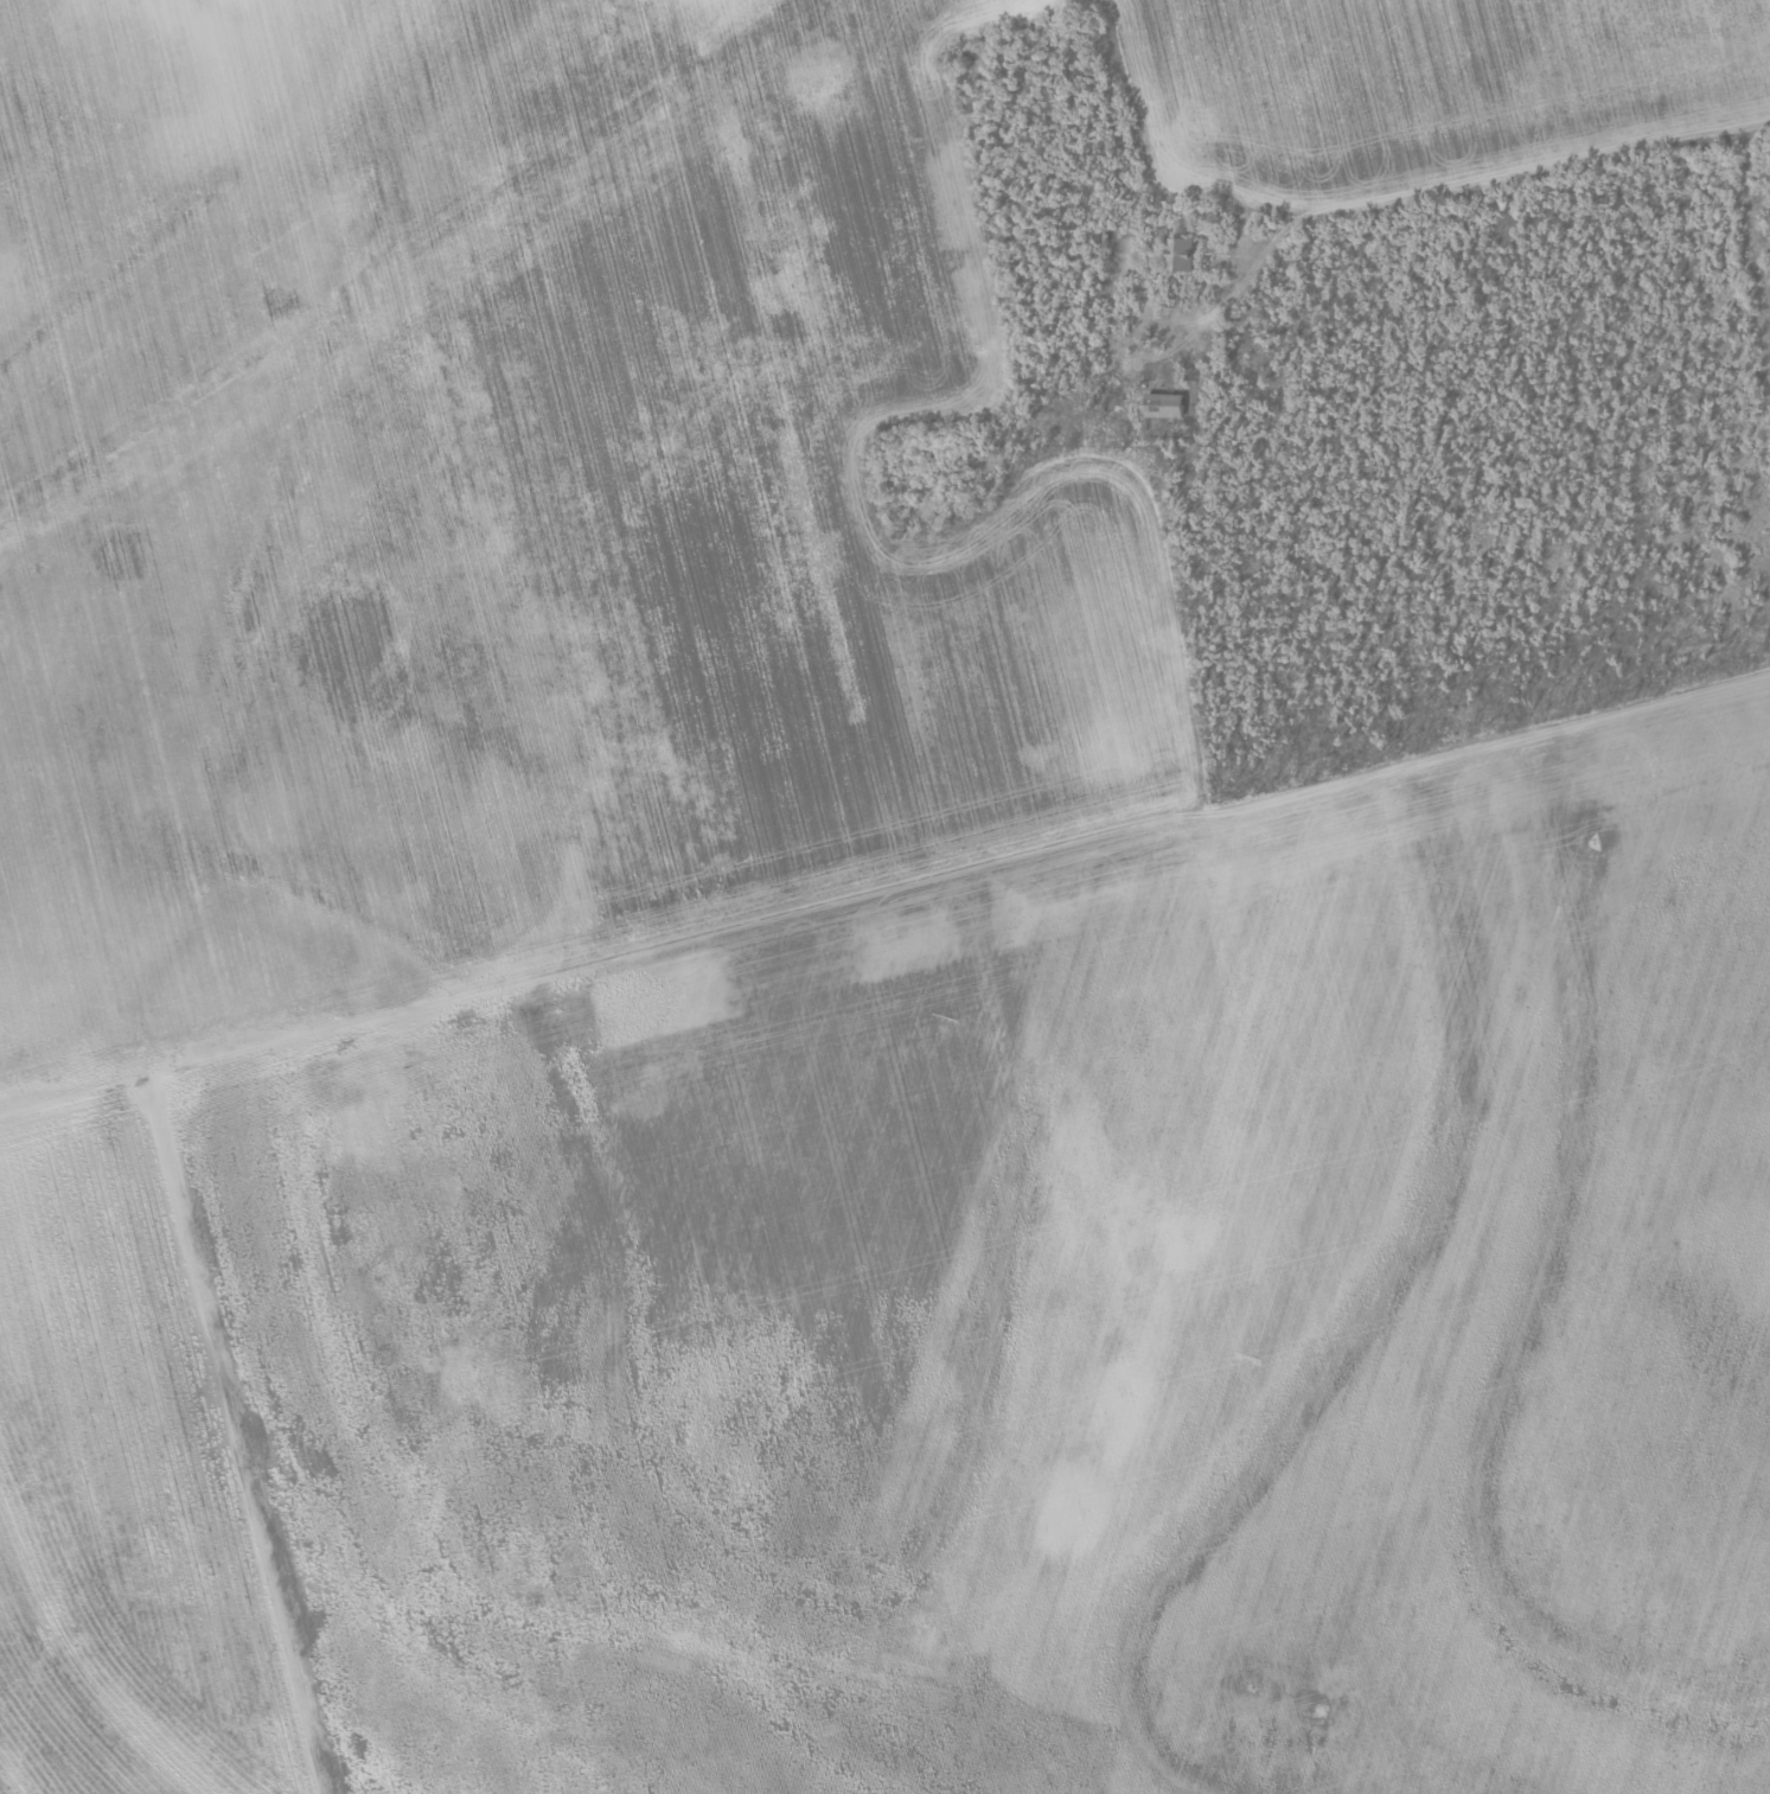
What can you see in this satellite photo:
road: (1488, 175)

